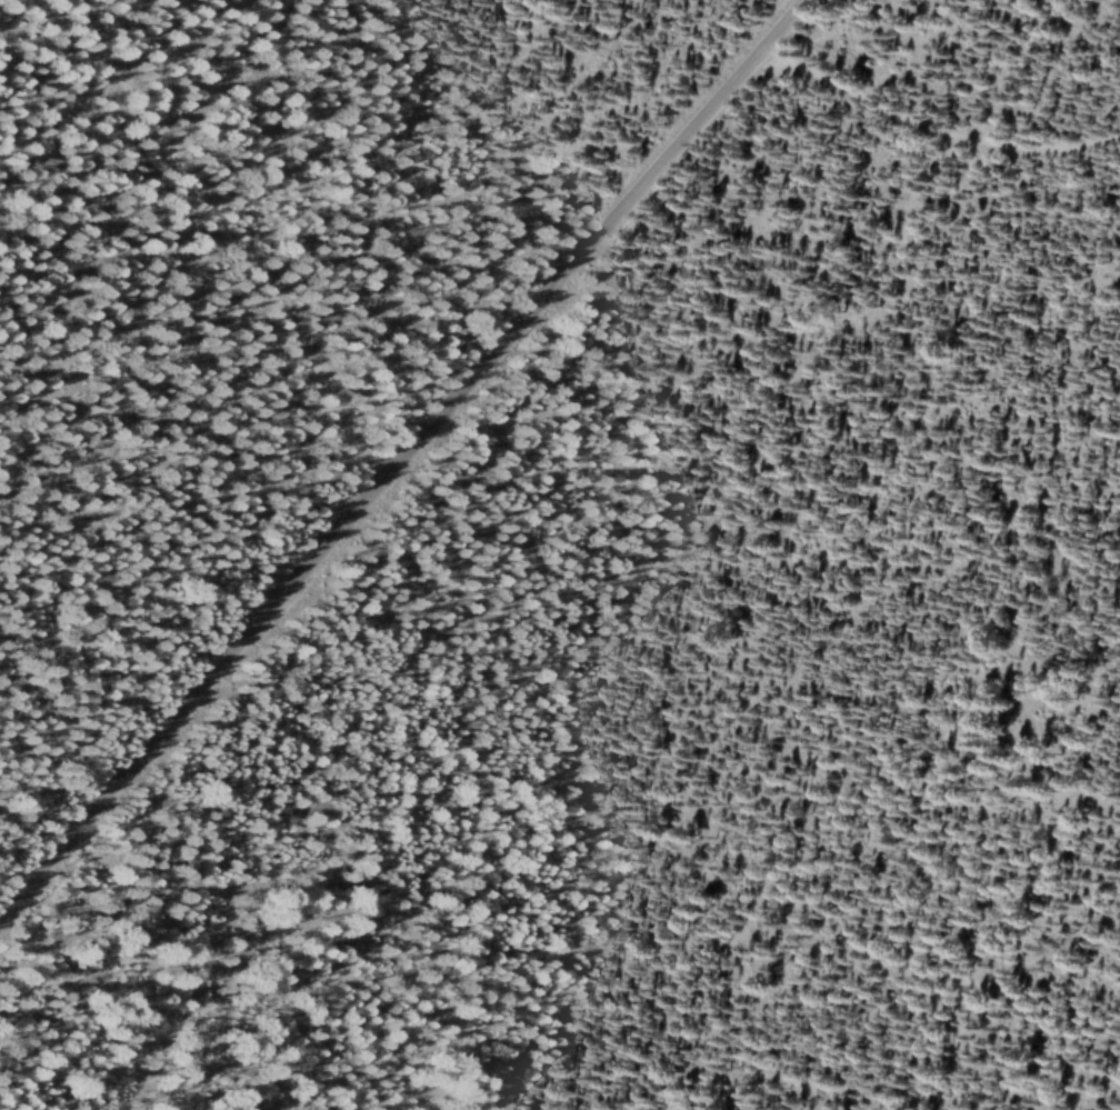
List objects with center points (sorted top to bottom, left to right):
road: (936, 127)
road: (229, 239)
road: (401, 456)

